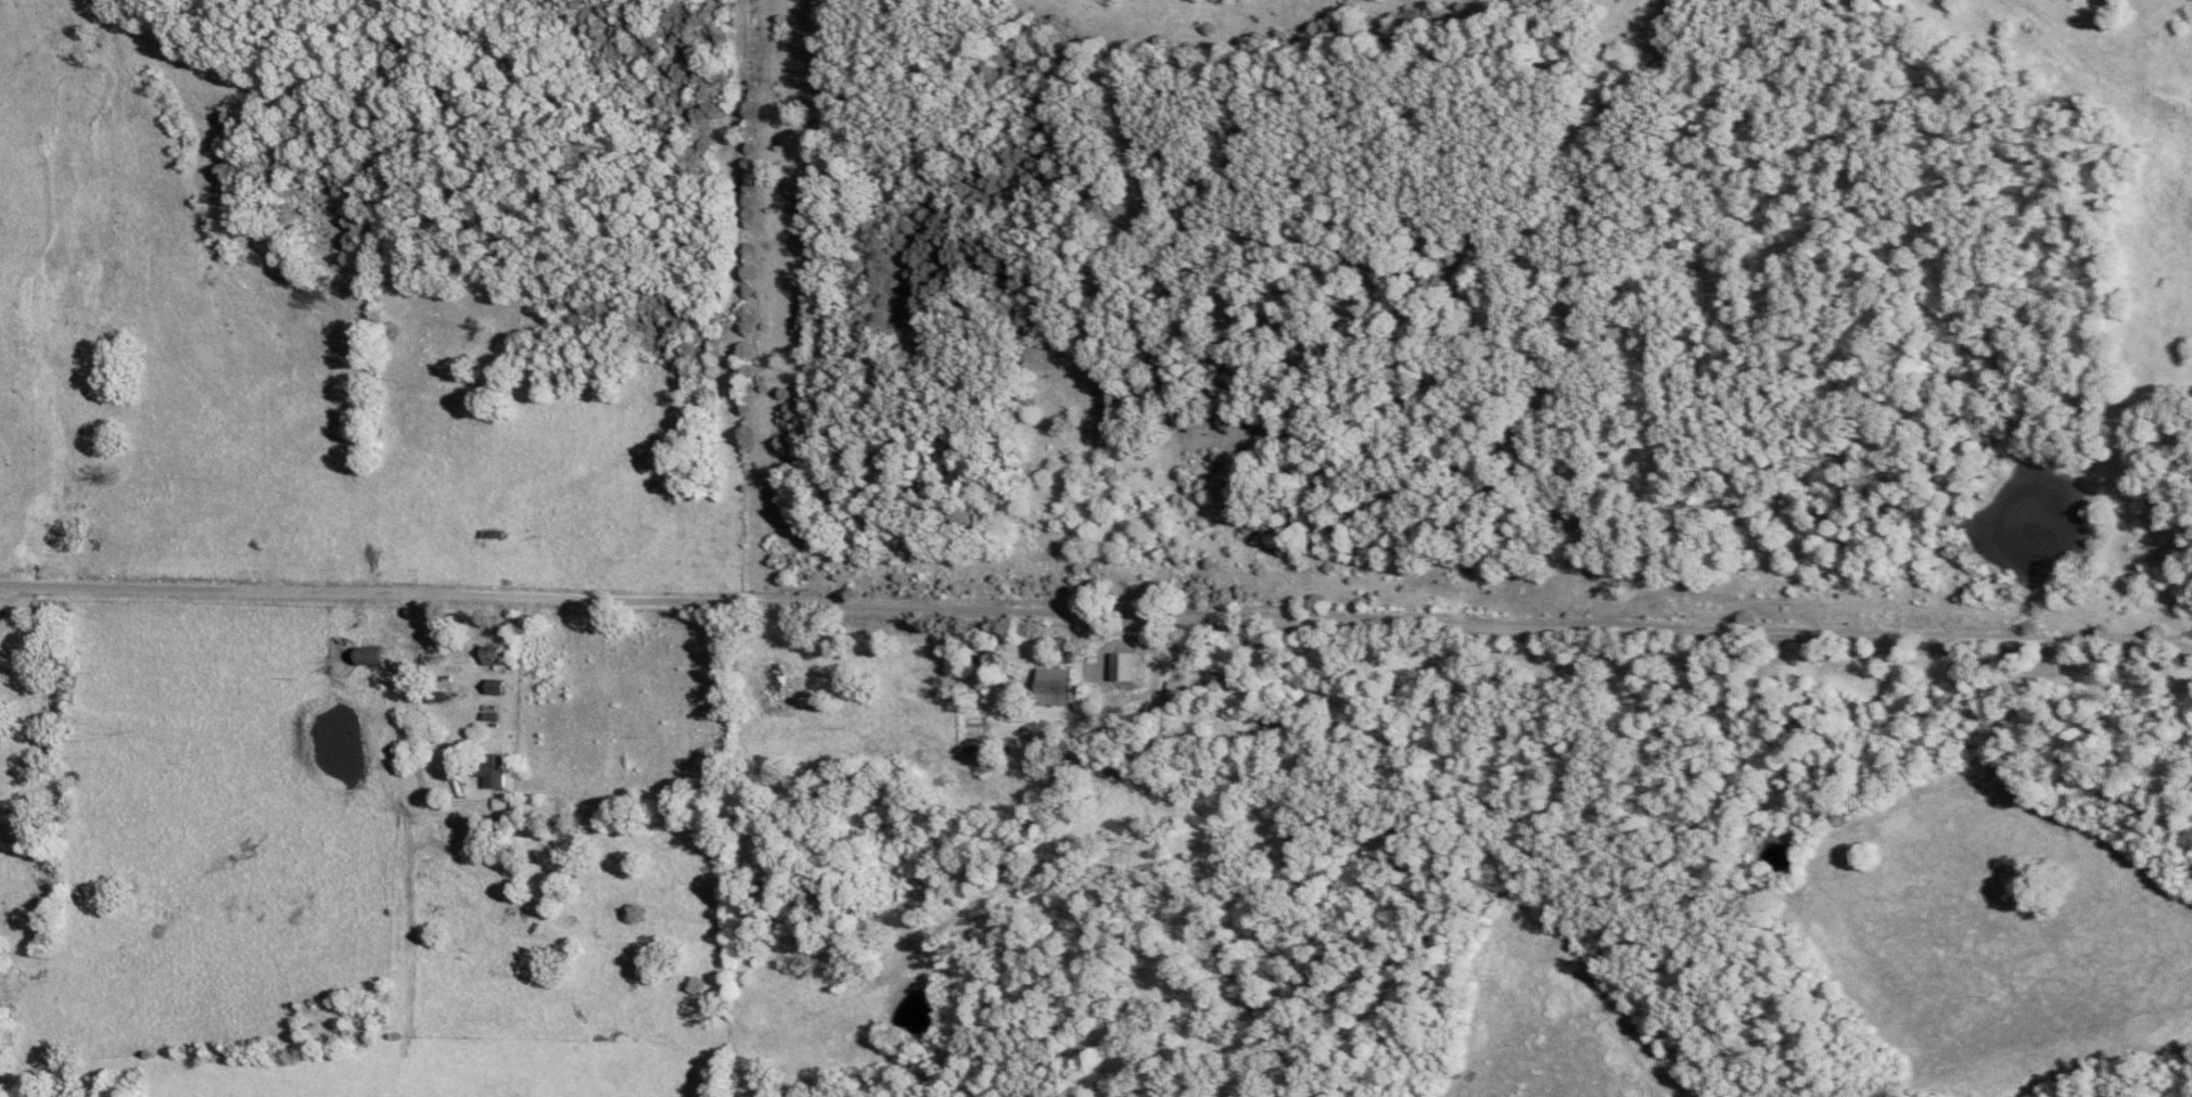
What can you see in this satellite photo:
building: (489, 539)
road: (1095, 628)
building: (489, 659)
building: (366, 661)
building: (1053, 691)
building: (490, 776)

